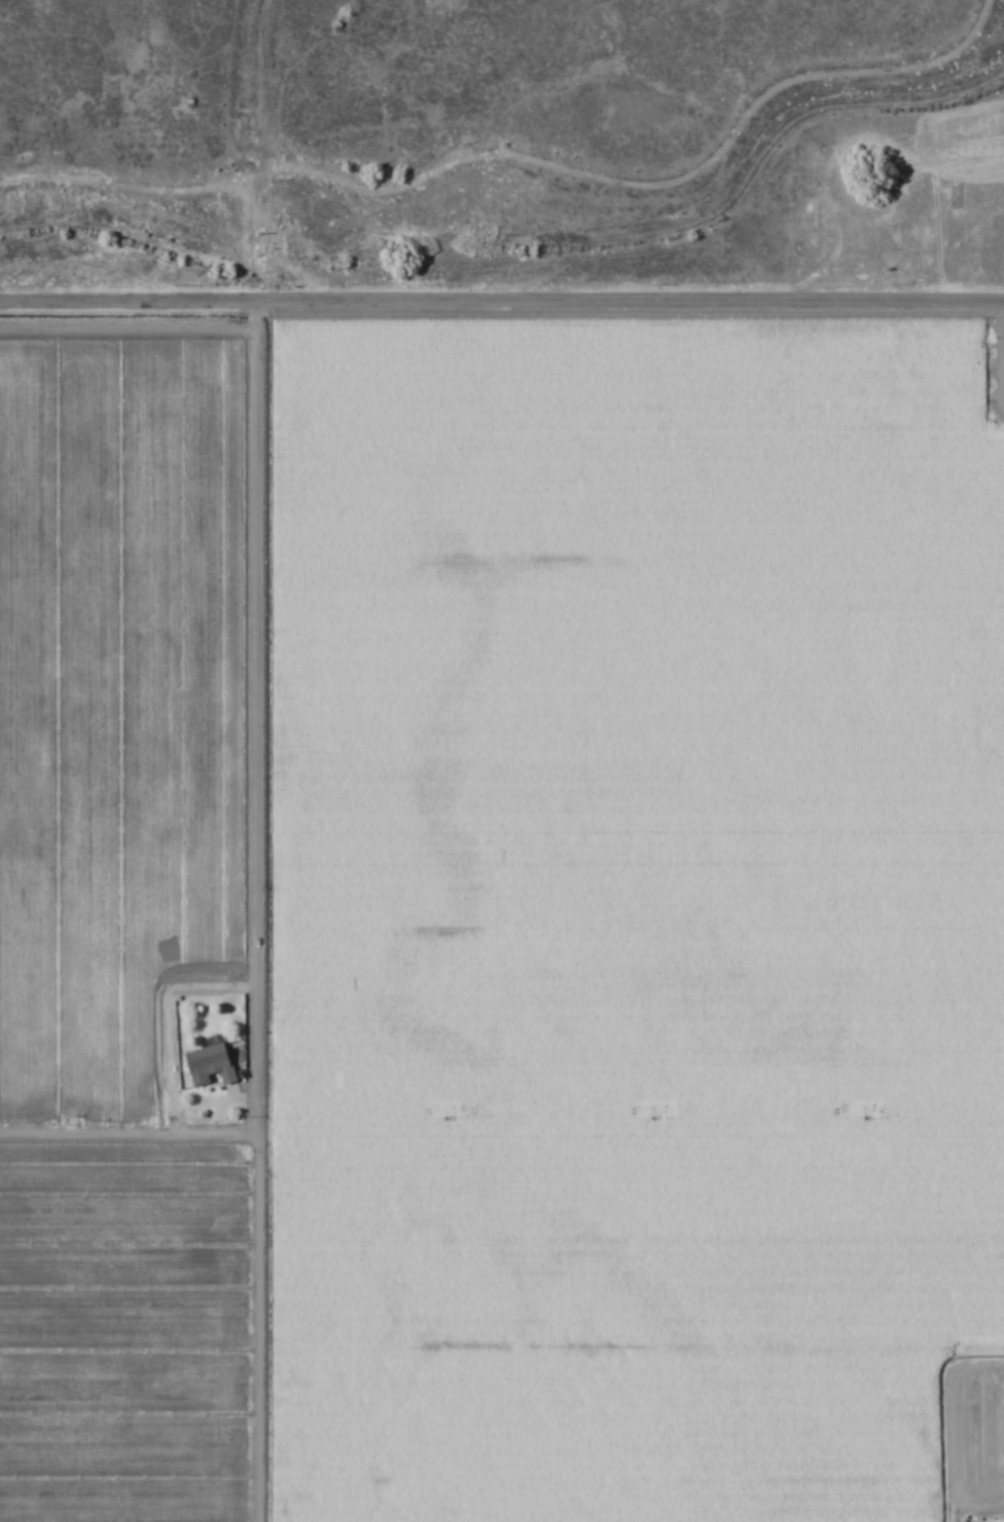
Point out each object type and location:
road: (502, 298)
road: (255, 909)
building: (209, 1066)
road: (128, 1127)

